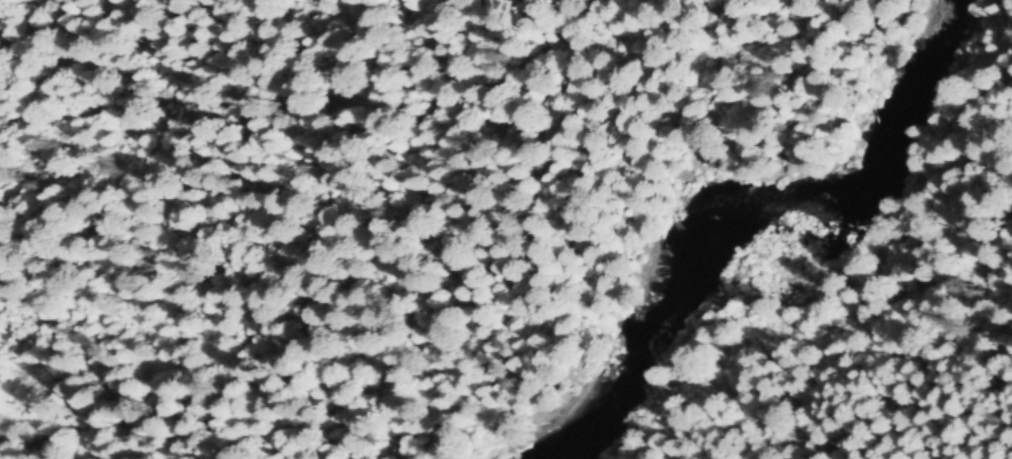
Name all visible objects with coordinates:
river: (753, 200)
road: (898, 308)

